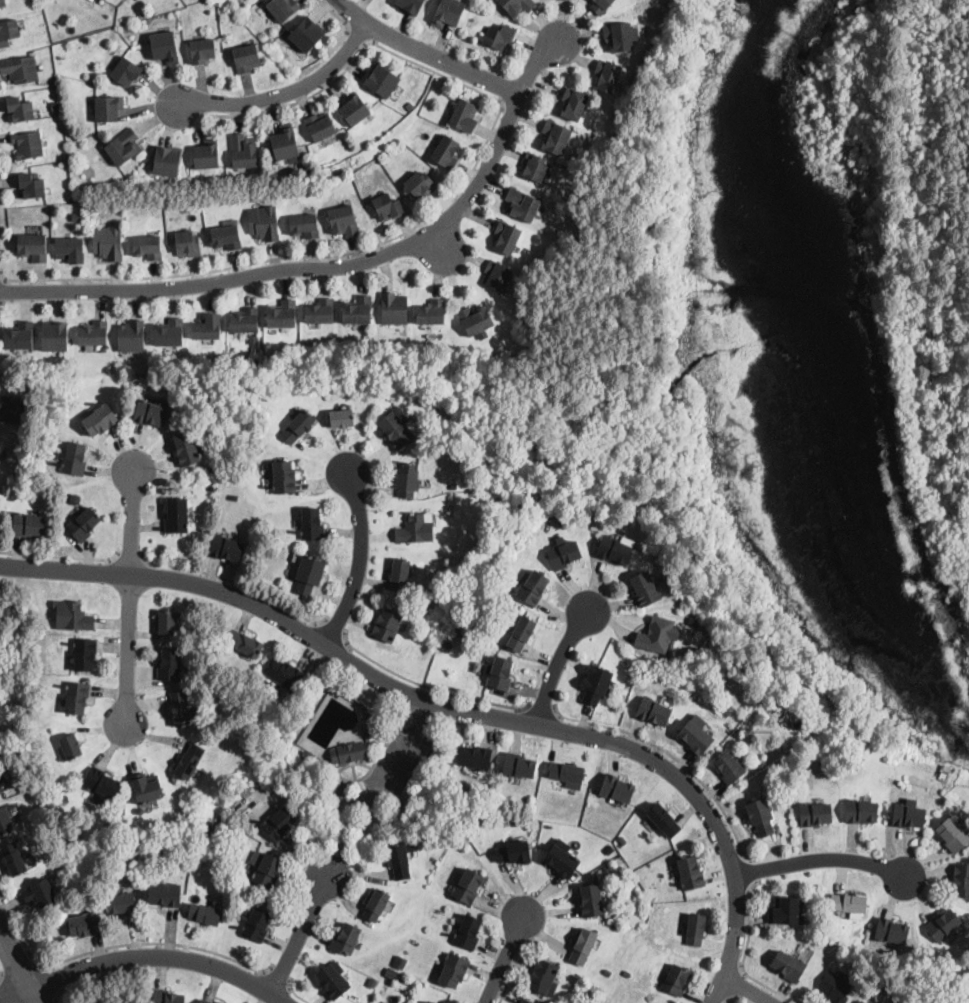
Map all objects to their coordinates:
building: (591, 0)
building: (2, 3)
building: (410, 5)
building: (517, 5)
building: (601, 5)
building: (283, 8)
building: (448, 12)
building: (142, 14)
road: (338, 16)
building: (8, 31)
building: (307, 34)
building: (619, 35)
building: (498, 36)
road: (356, 37)
building: (165, 47)
building: (202, 50)
road: (423, 55)
building: (246, 58)
building: (20, 69)
building: (126, 72)
building: (607, 76)
building: (382, 80)
building: (461, 90)
road: (279, 93)
building: (574, 103)
building: (410, 105)
building: (54, 106)
building: (108, 108)
building: (354, 108)
building: (20, 110)
building: (464, 116)
building: (320, 126)
building: (555, 137)
building: (284, 142)
building: (28, 145)
building: (123, 146)
building: (243, 151)
building: (446, 153)
building: (207, 154)
building: (167, 161)
building: (534, 167)
building: (421, 185)
building: (31, 186)
building: (175, 205)
building: (522, 205)
building: (387, 207)
road: (441, 208)
building: (77, 216)
building: (343, 221)
building: (264, 223)
building: (304, 225)
building: (226, 237)
building: (507, 237)
building: (108, 242)
road: (442, 242)
building: (187, 244)
building: (33, 247)
building: (147, 247)
building: (70, 249)
road: (339, 264)
building: (496, 275)
road: (1, 277)
road: (2, 289)
road: (2, 304)
building: (393, 309)
building: (320, 311)
building: (357, 311)
building: (432, 312)
building: (282, 314)
building: (475, 320)
building: (244, 321)
building: (207, 327)
building: (93, 333)
building: (169, 333)
building: (19, 336)
building: (55, 336)
building: (130, 336)
building: (252, 338)
building: (252, 348)
park: (793, 375)
building: (214, 395)
building: (41, 404)
building: (58, 407)
building: (8, 408)
building: (150, 413)
building: (343, 417)
building: (101, 419)
building: (48, 425)
building: (298, 427)
building: (395, 429)
building: (188, 448)
building: (74, 458)
building: (283, 477)
building: (407, 480)
building: (213, 487)
building: (233, 497)
building: (75, 499)
building: (597, 509)
building: (177, 516)
building: (562, 519)
building: (85, 524)
building: (311, 524)
building: (28, 525)
building: (415, 529)
building: (225, 548)
building: (613, 549)
building: (564, 554)
road: (62, 556)
road: (130, 557)
road: (359, 560)
building: (258, 562)
building: (309, 574)
building: (400, 574)
road: (236, 582)
building: (532, 587)
building: (645, 589)
road: (129, 595)
building: (442, 597)
building: (72, 616)
building: (167, 621)
building: (693, 622)
building: (387, 624)
road: (335, 627)
building: (521, 633)
building: (656, 634)
building: (244, 643)
building: (448, 645)
building: (84, 654)
building: (169, 665)
road: (556, 666)
building: (500, 673)
building: (286, 675)
building: (597, 684)
road: (426, 686)
building: (77, 698)
building: (180, 708)
road: (454, 708)
road: (541, 710)
building: (653, 711)
road: (421, 719)
building: (275, 726)
building: (696, 738)
building: (70, 747)
building: (349, 752)
building: (306, 756)
road: (673, 756)
building: (475, 757)
building: (189, 761)
building: (519, 766)
building: (729, 768)
building: (774, 771)
building: (566, 772)
building: (102, 782)
building: (617, 789)
building: (2, 790)
building: (147, 790)
road: (375, 795)
building: (444, 795)
building: (65, 799)
building: (861, 811)
building: (816, 814)
building: (909, 814)
building: (760, 816)
building: (6, 819)
building: (665, 820)
building: (496, 821)
building: (278, 823)
building: (442, 833)
building: (132, 834)
building: (953, 835)
building: (622, 839)
building: (411, 848)
building: (609, 850)
building: (514, 853)
building: (561, 858)
building: (14, 859)
road: (819, 859)
building: (400, 861)
building: (428, 867)
building: (266, 869)
road: (753, 869)
building: (690, 873)
building: (961, 879)
building: (226, 884)
building: (467, 885)
building: (68, 892)
building: (40, 895)
building: (166, 895)
building: (246, 899)
building: (592, 901)
building: (849, 902)
building: (121, 903)
building: (376, 905)
building: (785, 910)
building: (205, 913)
building: (85, 924)
building: (257, 924)
building: (943, 925)
building: (696, 930)
building: (893, 931)
building: (469, 932)
road: (299, 933)
building: (346, 939)
road: (118, 944)
building: (583, 946)
road: (147, 953)
road: (744, 953)
road: (504, 959)
building: (397, 964)
building: (790, 966)
road: (19, 967)
road: (18, 969)
building: (453, 970)
road: (513, 970)
building: (627, 972)
road: (1, 973)
building: (608, 973)
building: (392, 974)
road: (279, 975)
building: (543, 976)
road: (49, 980)
building: (676, 980)
building: (334, 981)
building: (372, 981)
road: (739, 985)
building: (835, 987)
road: (747, 991)
road: (295, 992)
road: (60, 995)
building: (166, 996)
road: (731, 999)
building: (205, 1001)
building: (526, 1001)
building: (93, 1002)
building: (430, 1002)
building: (862, 1002)

